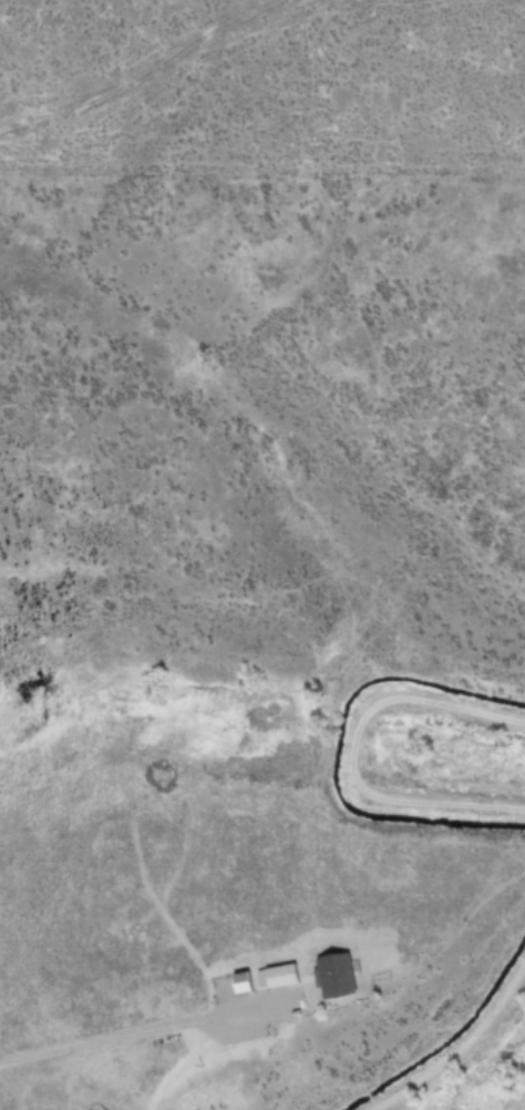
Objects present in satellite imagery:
building: (278, 975)
building: (331, 975)
building: (238, 981)
road: (153, 1031)

